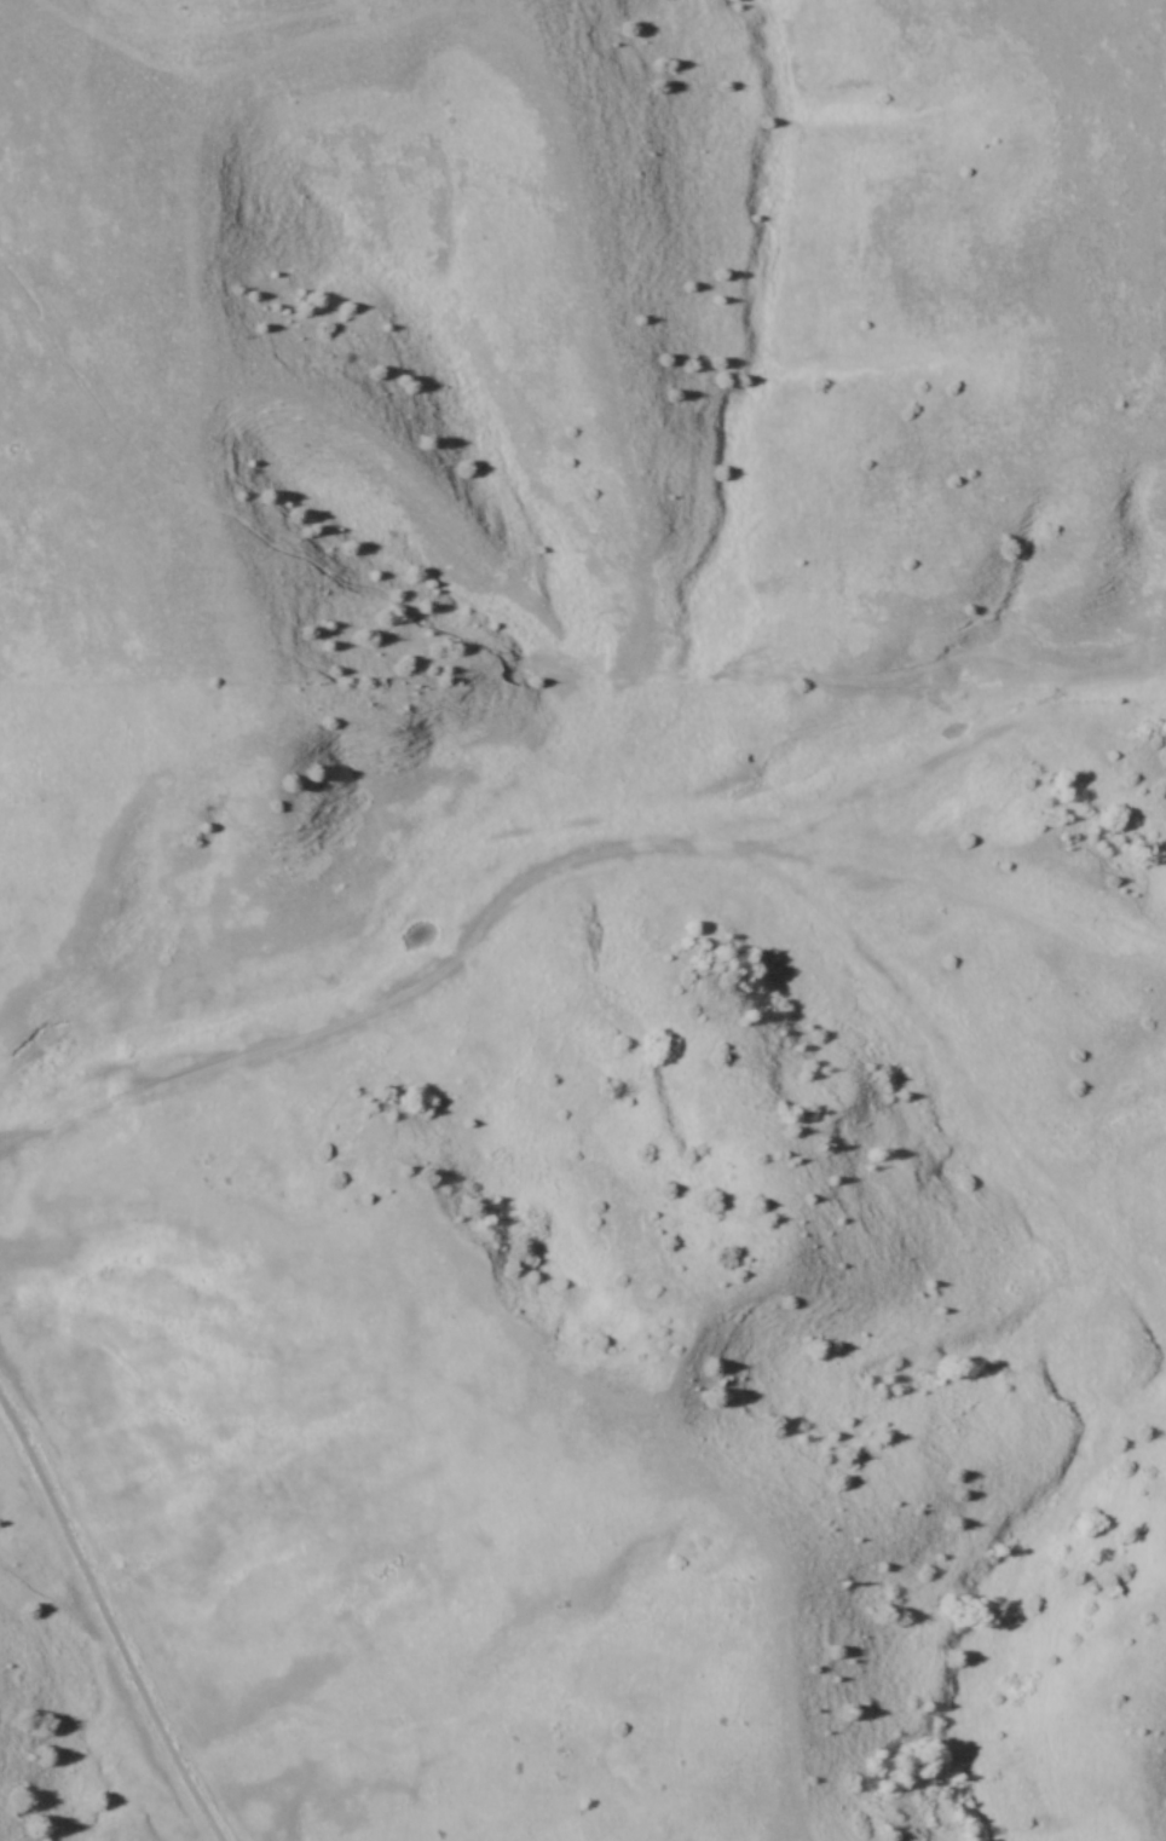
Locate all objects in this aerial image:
road: (103, 1628)

